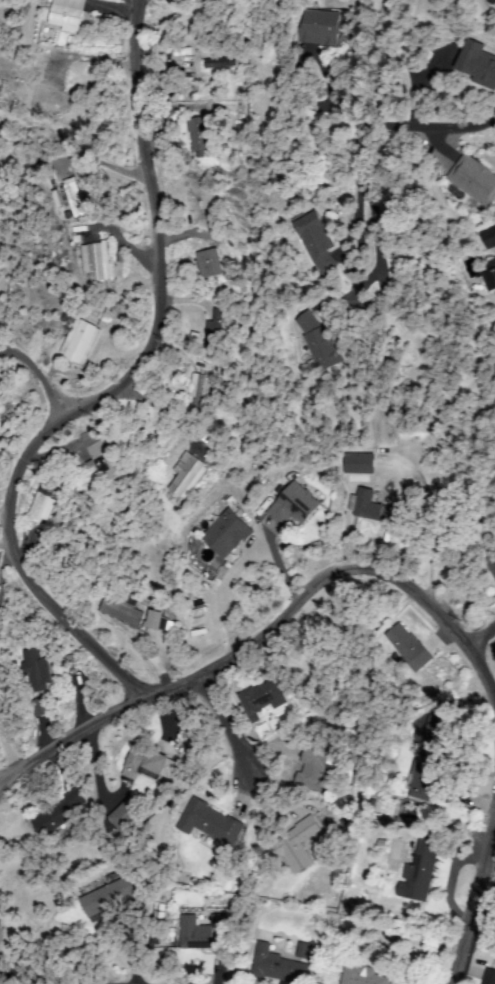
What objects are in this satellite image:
building: (198, 1)
building: (493, 1)
building: (67, 16)
building: (323, 28)
building: (222, 63)
building: (478, 64)
building: (48, 98)
building: (200, 136)
building: (474, 181)
building: (74, 198)
building: (490, 237)
building: (317, 242)
building: (96, 261)
building: (210, 264)
building: (492, 273)
building: (217, 329)
building: (81, 341)
building: (321, 343)
building: (0, 390)
building: (201, 390)
building: (0, 392)
building: (100, 461)
building: (359, 464)
building: (189, 477)
building: (43, 503)
building: (294, 505)
building: (369, 506)
building: (228, 534)
building: (491, 562)
road: (13, 569)
building: (121, 610)
building: (152, 619)
building: (161, 620)
road: (484, 645)
building: (409, 647)
building: (36, 673)
building: (261, 698)
building: (40, 708)
road: (227, 724)
building: (435, 725)
road: (69, 745)
building: (147, 763)
building: (318, 770)
building: (430, 770)
building: (61, 816)
building: (126, 816)
building: (211, 824)
building: (297, 845)
building: (422, 868)
building: (109, 898)
road: (475, 913)
building: (204, 934)
building: (304, 950)
building: (431, 958)
building: (278, 967)
building: (361, 976)
building: (490, 977)

